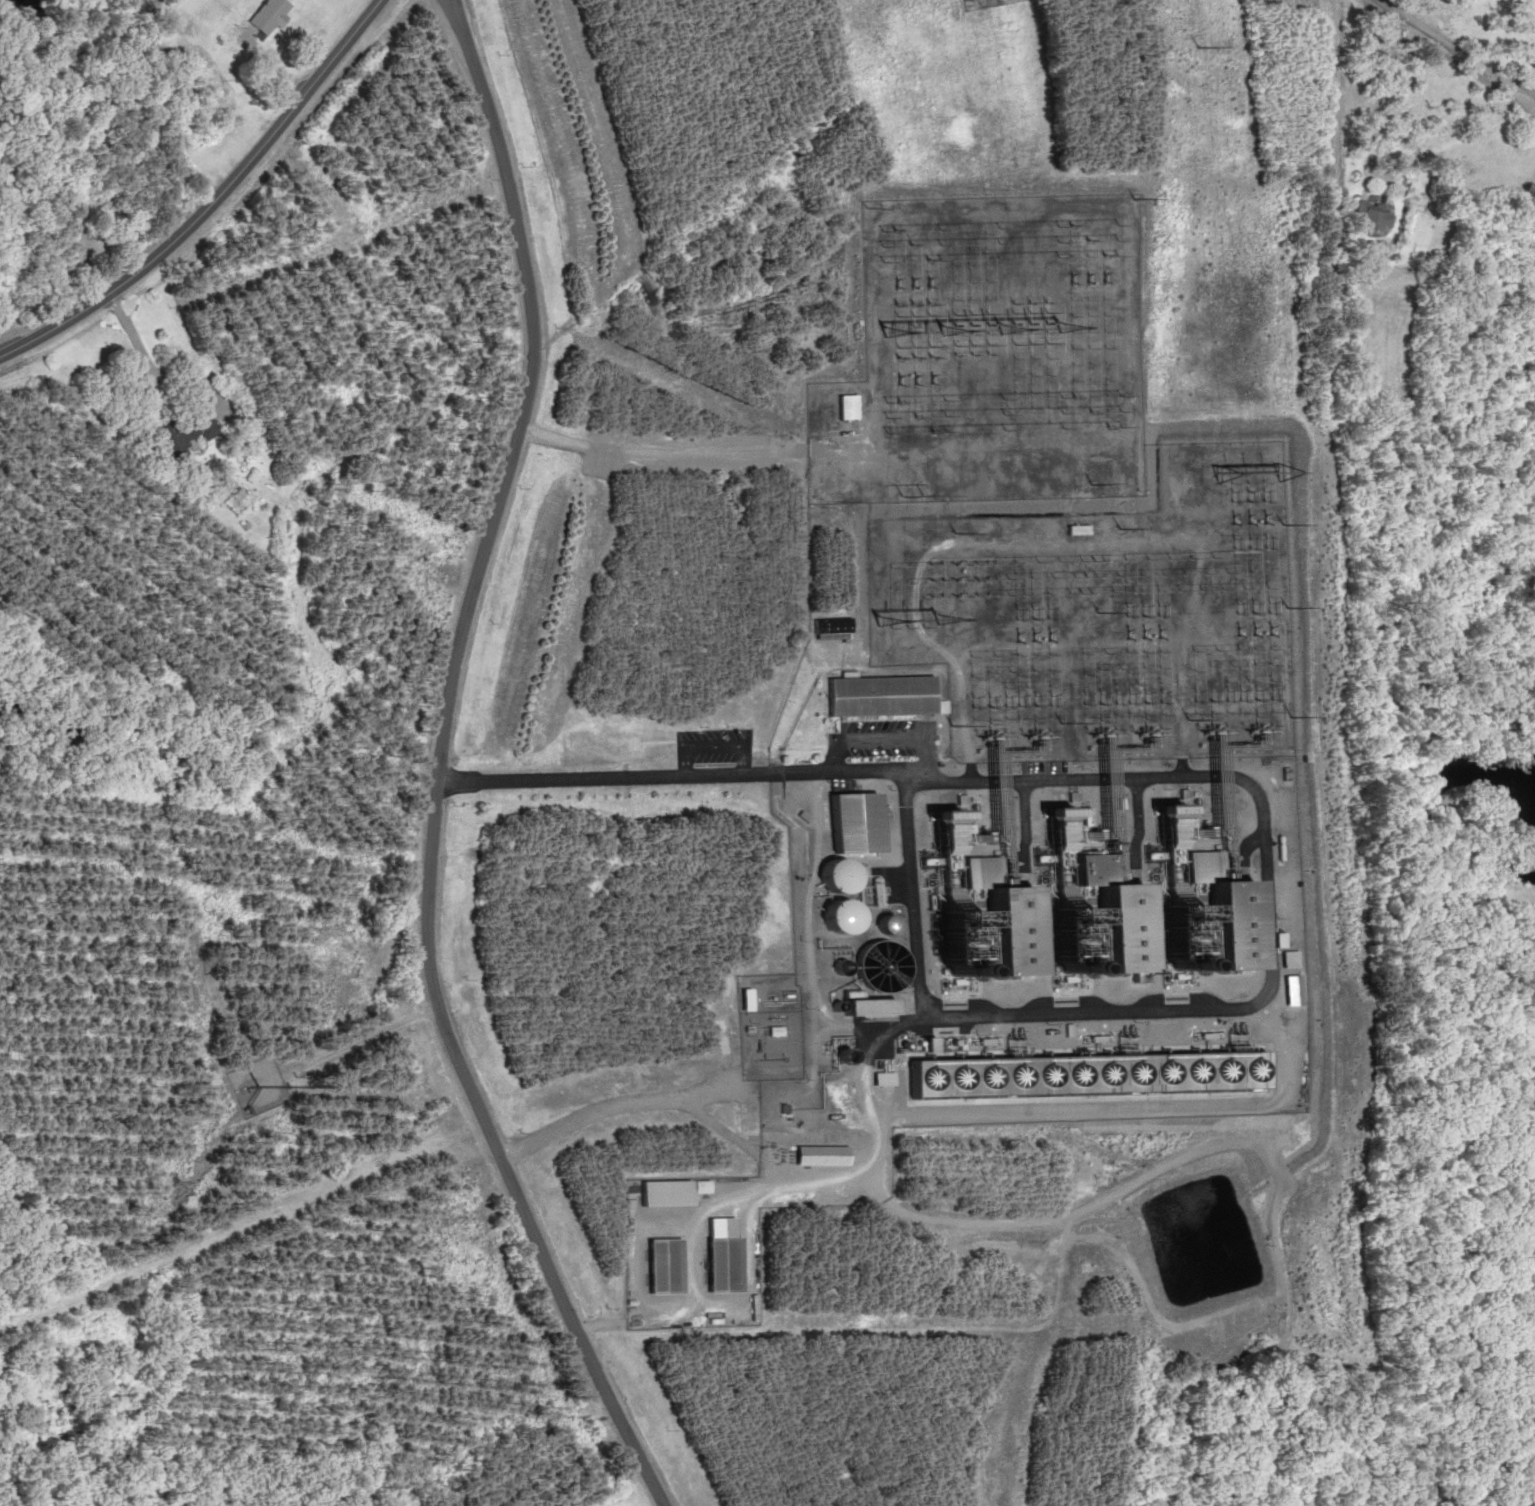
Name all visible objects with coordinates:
power tower: (944, 6)
building: (267, 15)
power tower: (1172, 45)
road: (1445, 49)
road: (207, 199)
building: (1370, 217)
building: (1372, 257)
power substation: (986, 355)
building: (845, 407)
building: (247, 420)
building: (184, 431)
power substation: (1103, 616)
building: (832, 624)
building: (881, 695)
parking lot: (881, 741)
road: (882, 741)
road: (713, 746)
parking lot: (712, 748)
road: (434, 768)
road: (607, 777)
building: (858, 820)
road: (1019, 820)
road: (1132, 820)
road: (1243, 842)
power plant: (1012, 844)
building: (836, 873)
building: (839, 915)
building: (1234, 921)
building: (886, 923)
building: (1125, 925)
building: (1010, 927)
road: (1266, 944)
building: (1285, 957)
chimney: (1168, 969)
chimney: (1060, 971)
chimney: (949, 972)
building: (873, 978)
building: (866, 1005)
building: (1084, 1072)
road: (641, 1100)
road: (711, 1126)
road: (819, 1177)
building: (662, 1191)
building: (720, 1263)
building: (662, 1265)

